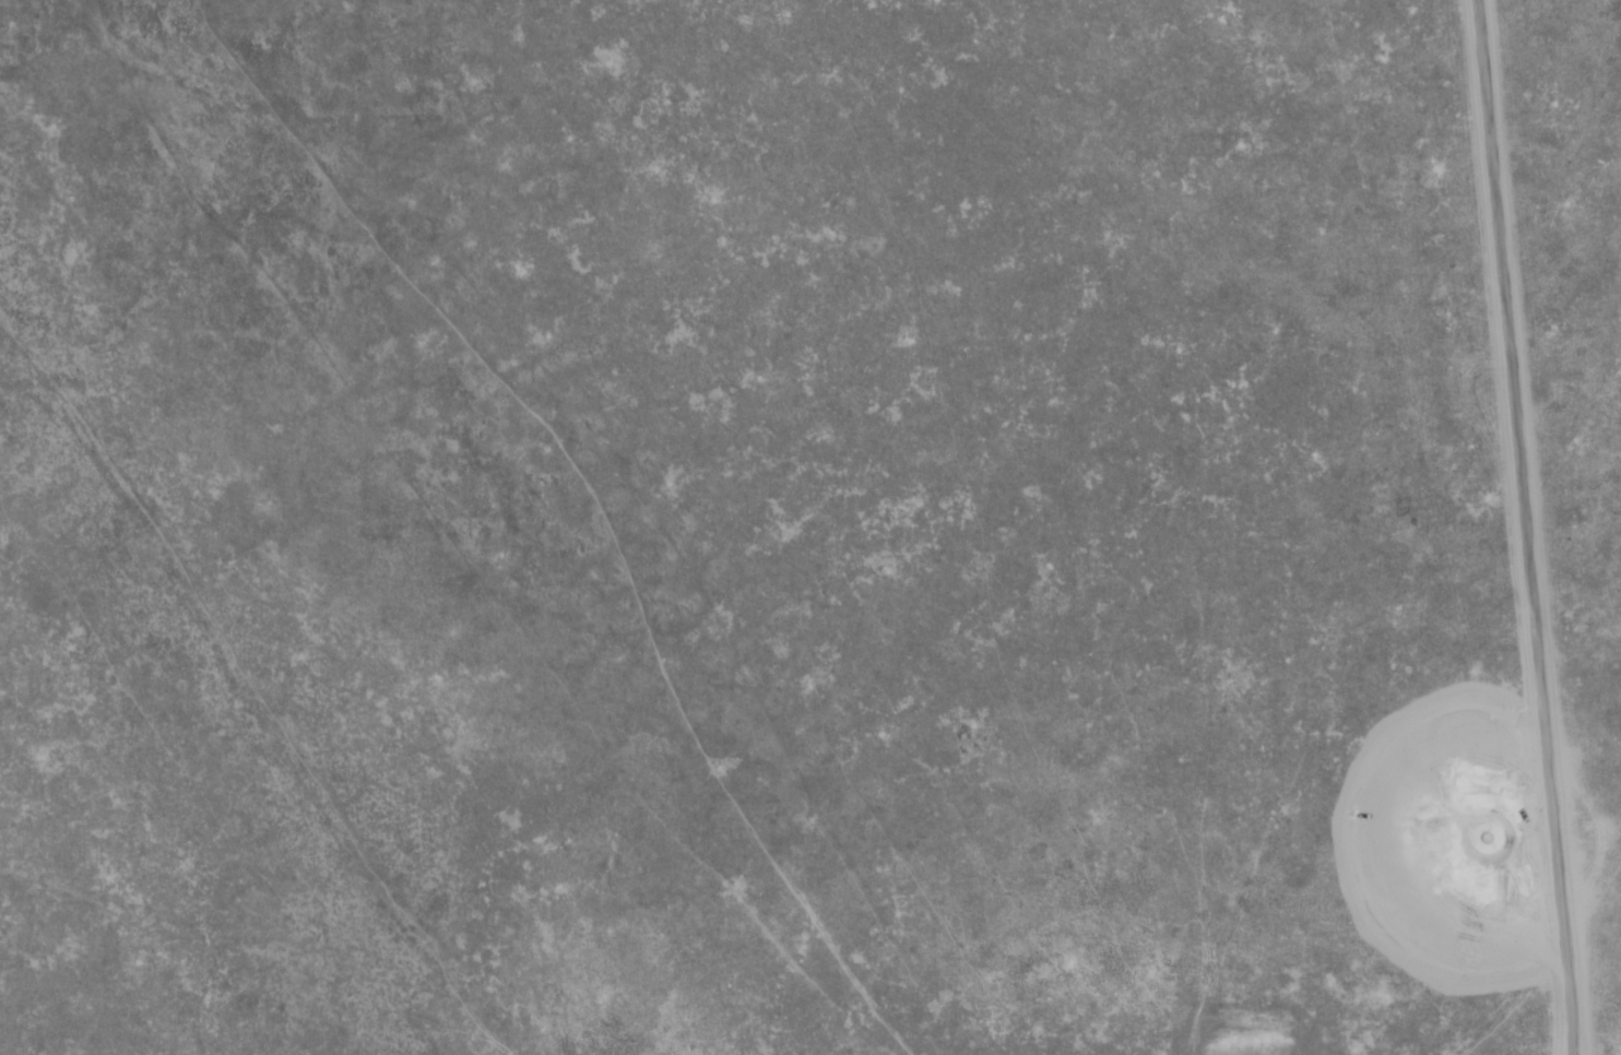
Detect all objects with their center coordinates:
wind turbine: (1471, 835)

